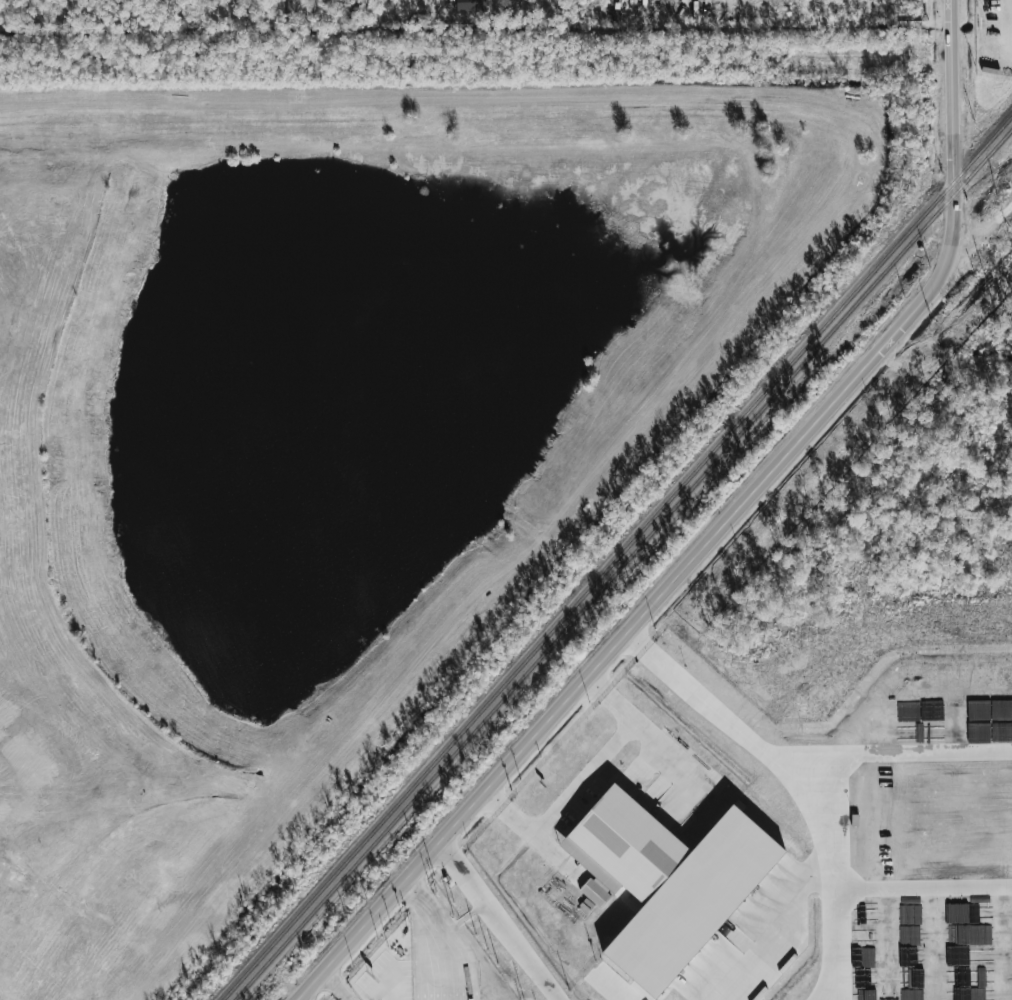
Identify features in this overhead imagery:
building: (470, 5)
building: (291, 10)
road: (879, 60)
road: (456, 100)
landfill: (326, 438)
road: (715, 536)
railway: (617, 557)
railway: (623, 564)
road: (918, 756)
road: (824, 758)
road: (582, 783)
building: (665, 882)
road: (919, 888)
road: (497, 921)
road: (439, 935)
road: (336, 985)

